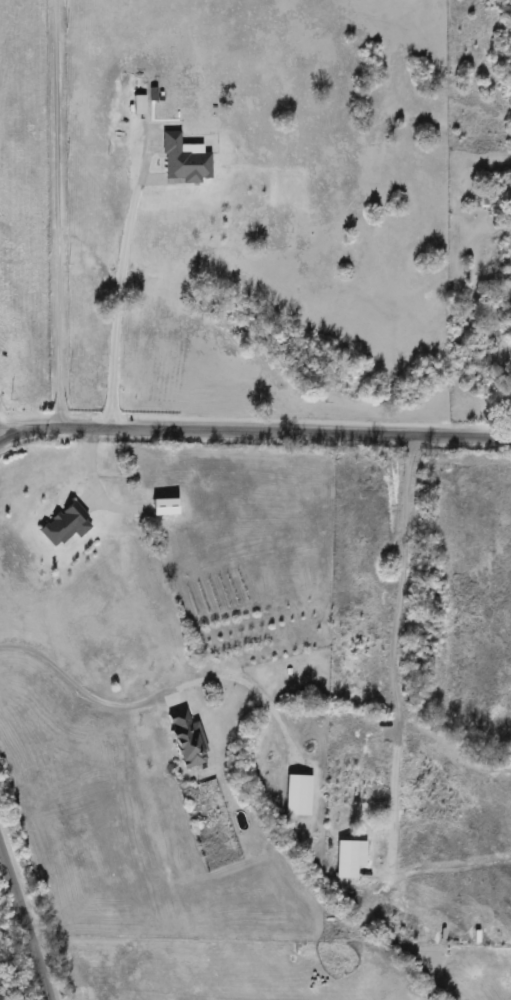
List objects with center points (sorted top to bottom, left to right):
building: (180, 162)
road: (59, 213)
road: (119, 294)
road: (255, 430)
road: (84, 480)
building: (172, 508)
building: (70, 527)
road: (394, 646)
road: (80, 687)
building: (184, 735)
building: (341, 859)
road: (25, 929)

